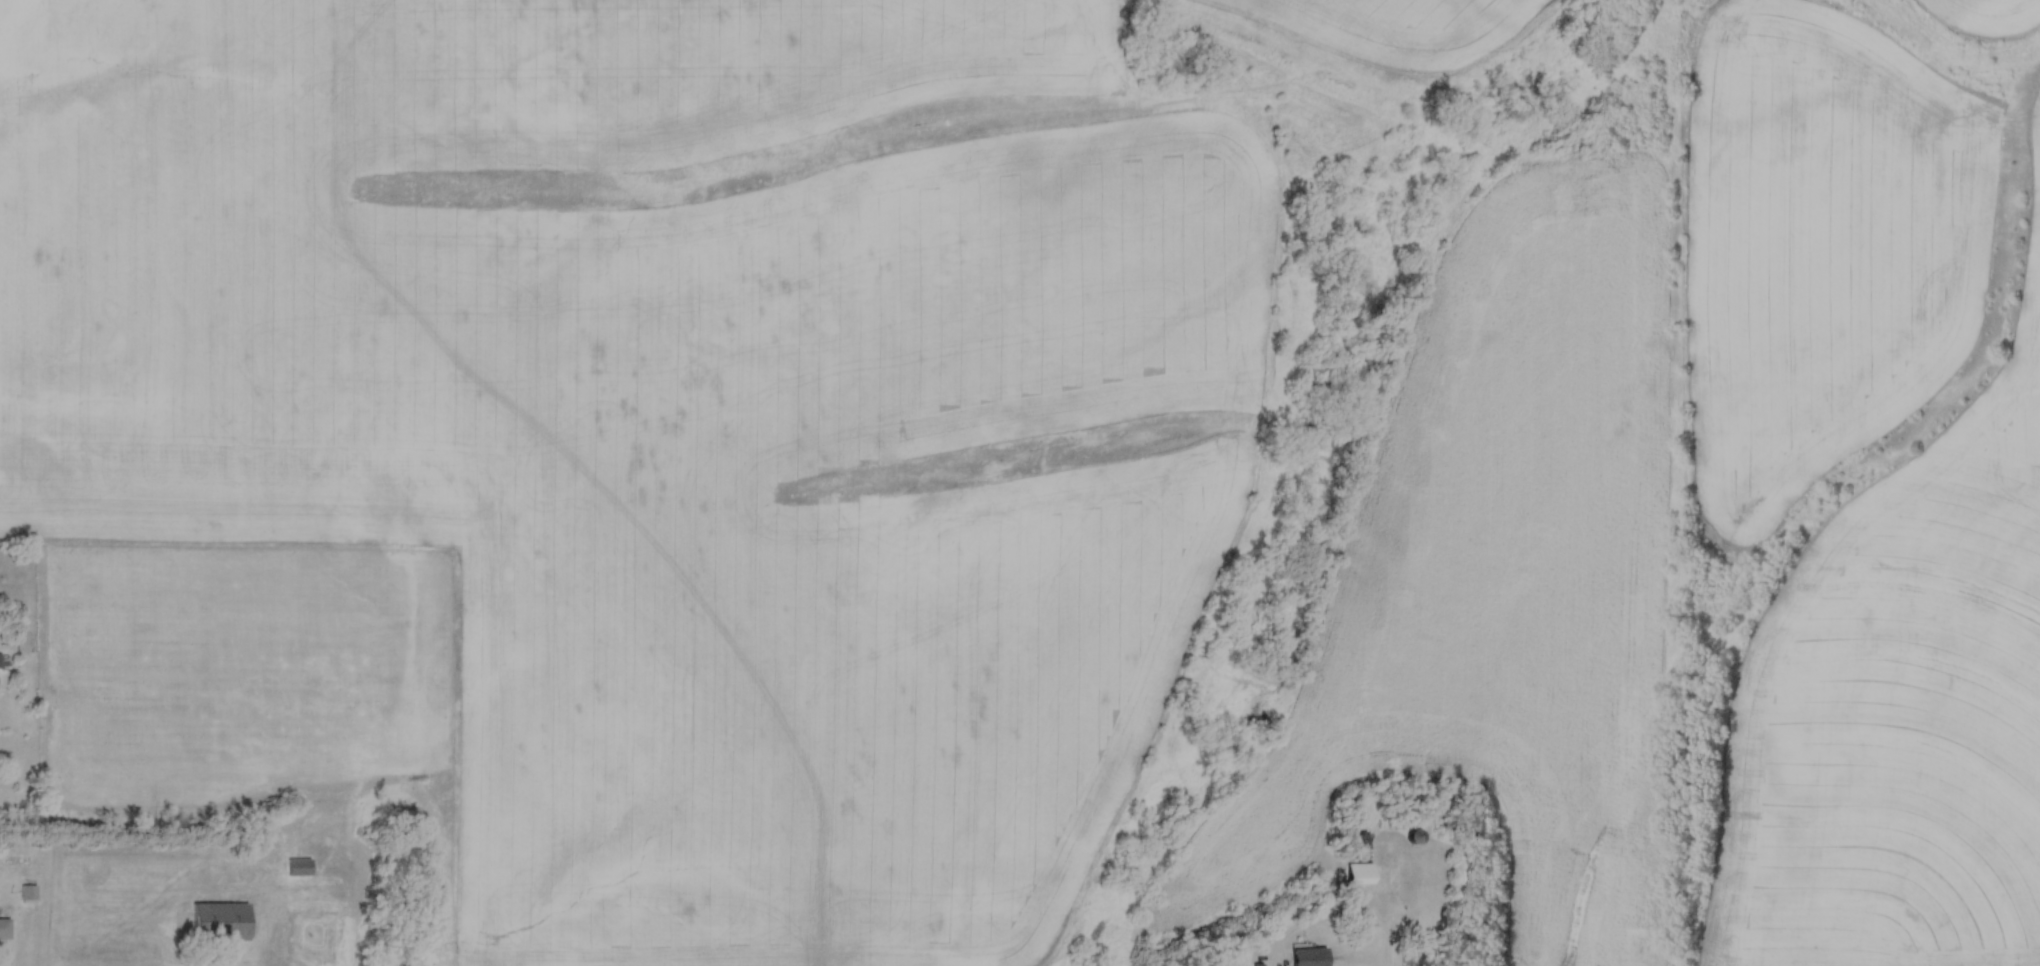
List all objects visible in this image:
building: (1, 662)
building: (1416, 835)
building: (1362, 840)
building: (300, 866)
building: (1362, 873)
building: (28, 891)
building: (222, 920)
building: (4, 929)
building: (1311, 956)
building: (1257, 965)

